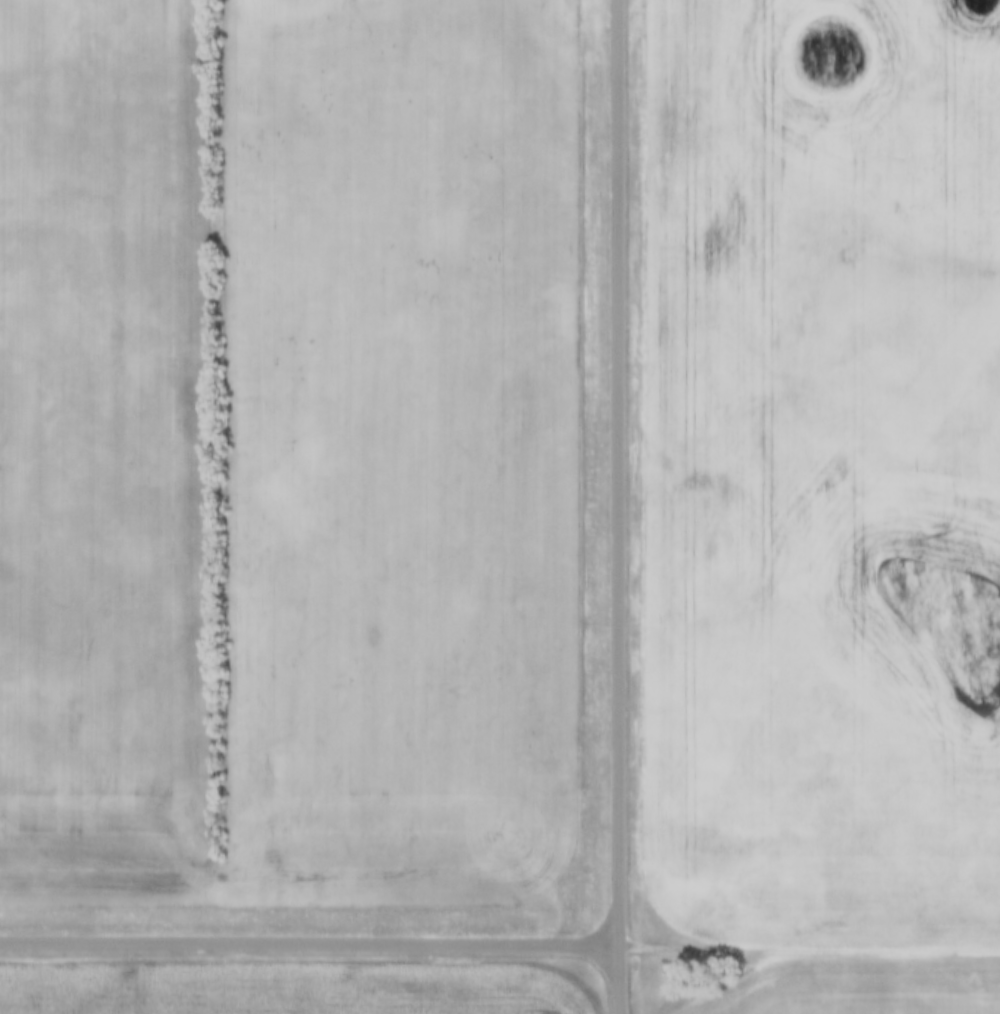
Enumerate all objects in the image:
road: (619, 507)
road: (809, 943)
road: (309, 944)

